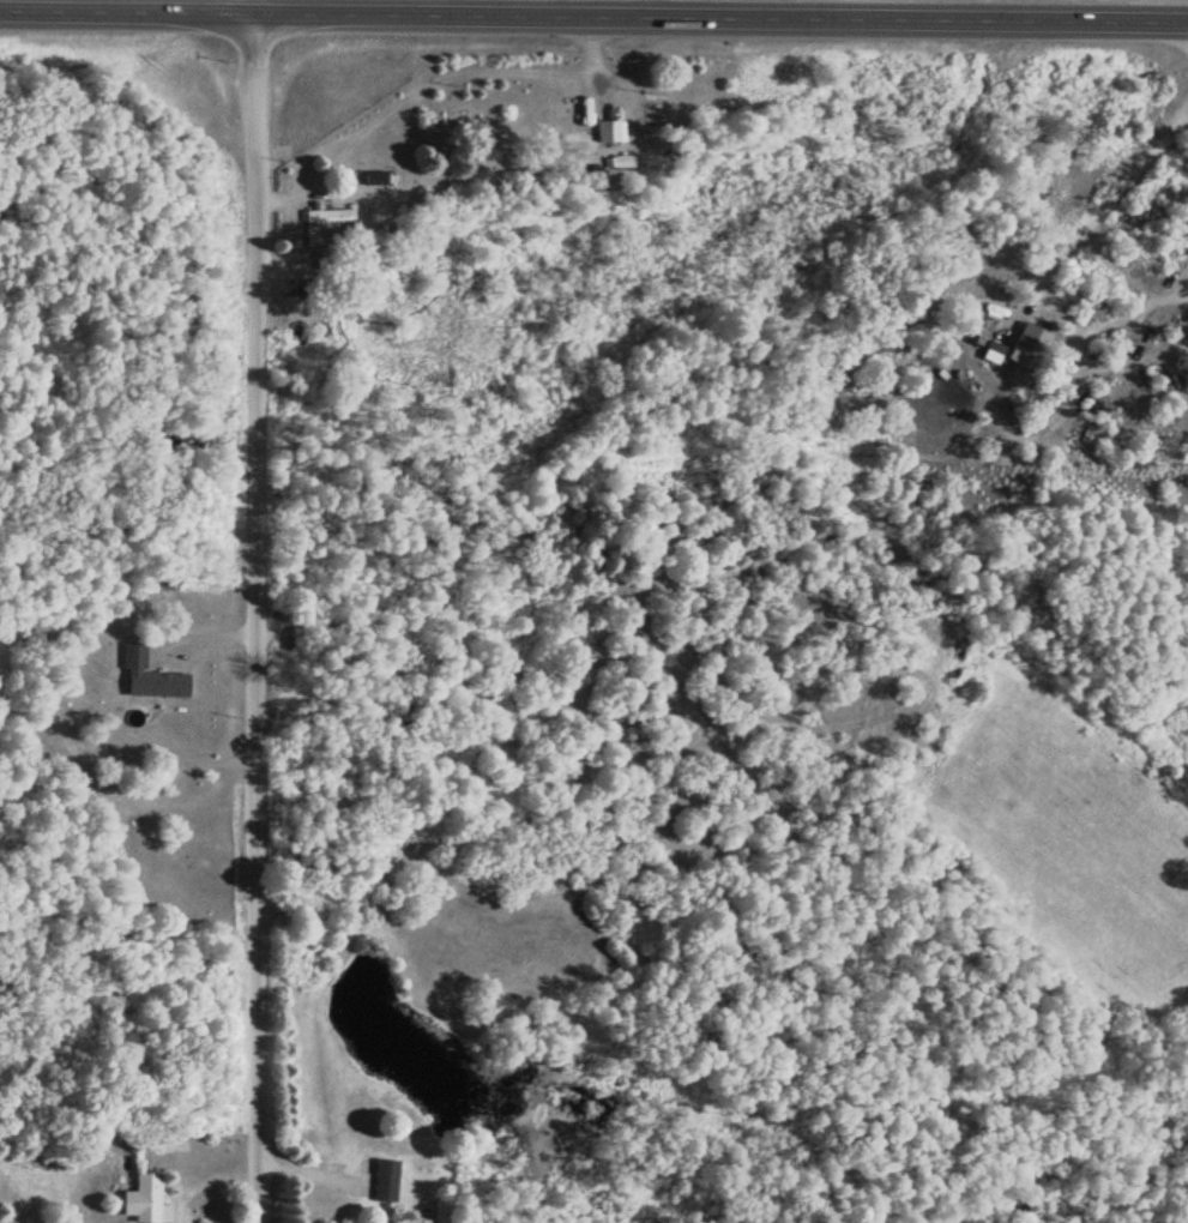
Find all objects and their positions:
road: (593, 16)
building: (593, 137)
building: (621, 162)
building: (327, 215)
building: (330, 266)
building: (1030, 339)
road: (255, 610)
building: (135, 656)
building: (385, 1181)
building: (145, 1199)

